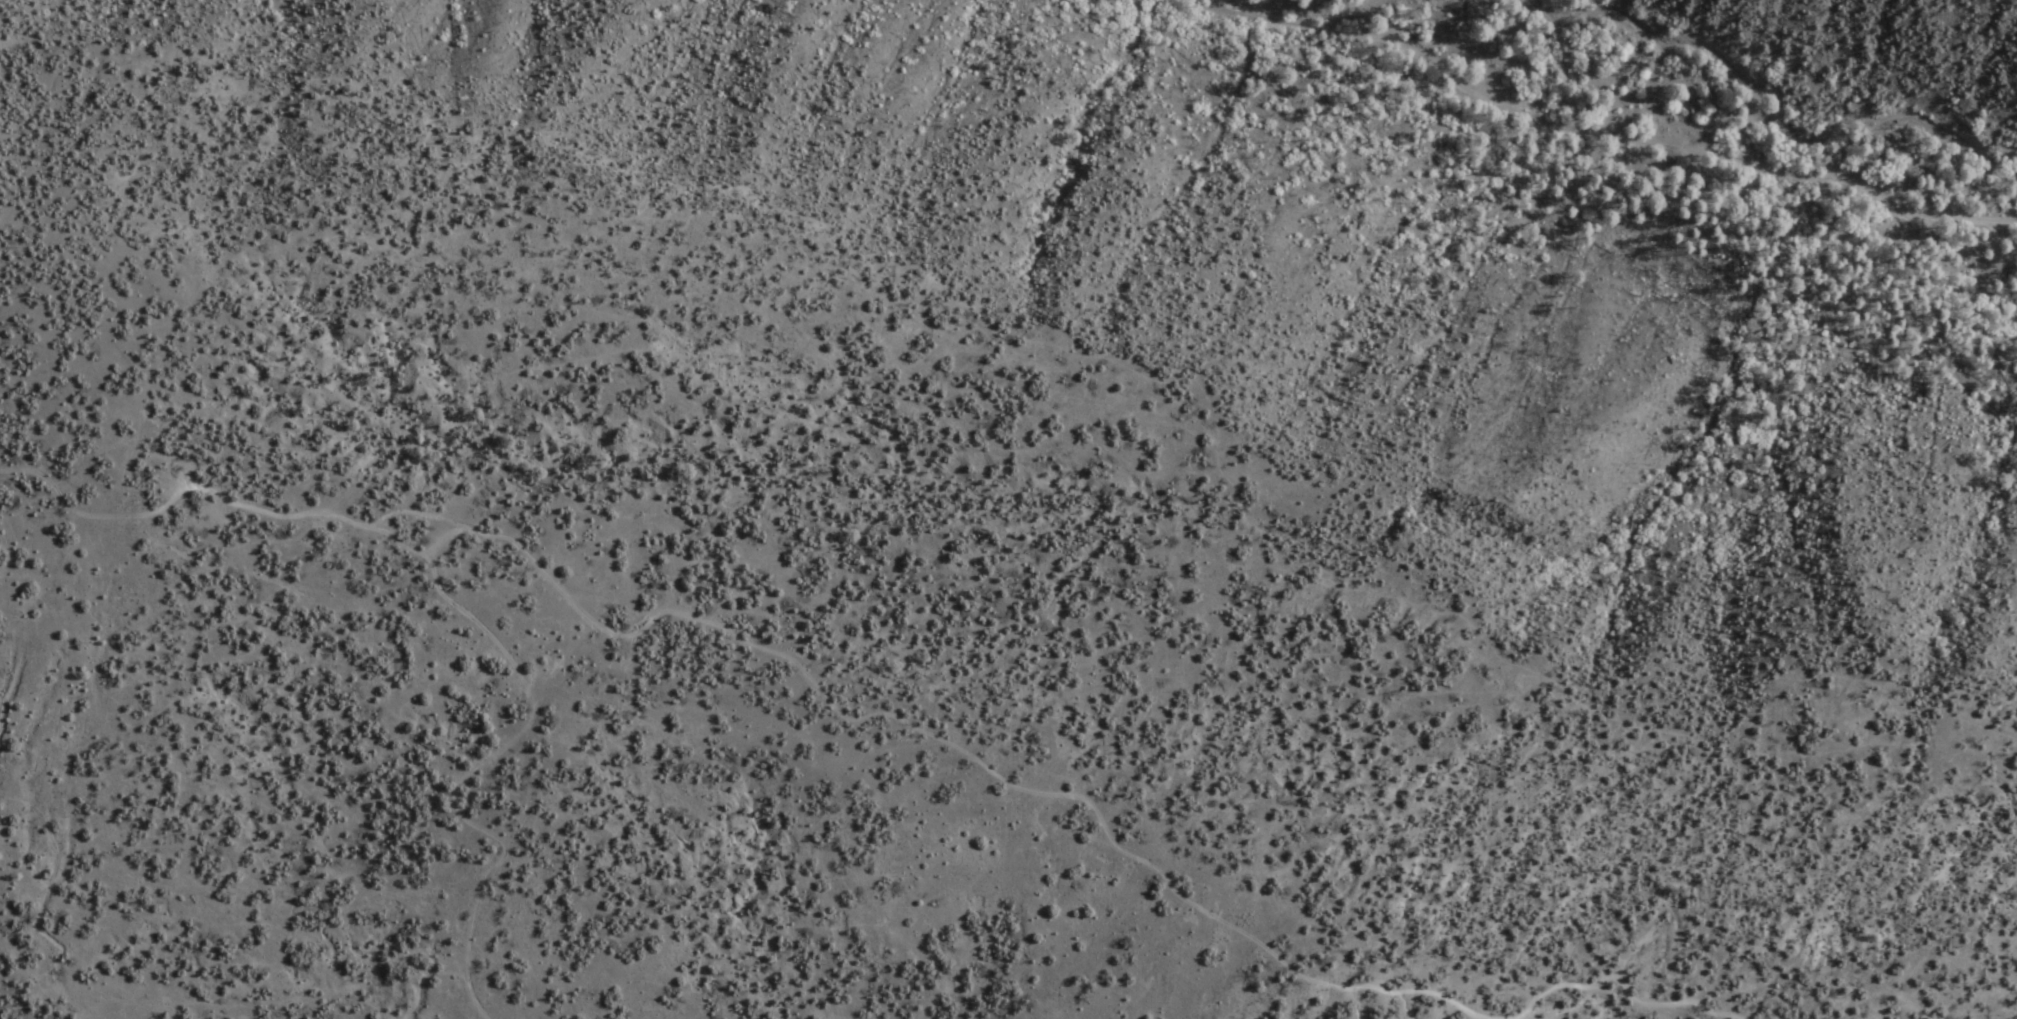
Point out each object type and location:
road: (1601, 132)
road: (861, 712)
road: (519, 773)
road: (21, 921)
road: (463, 1014)

